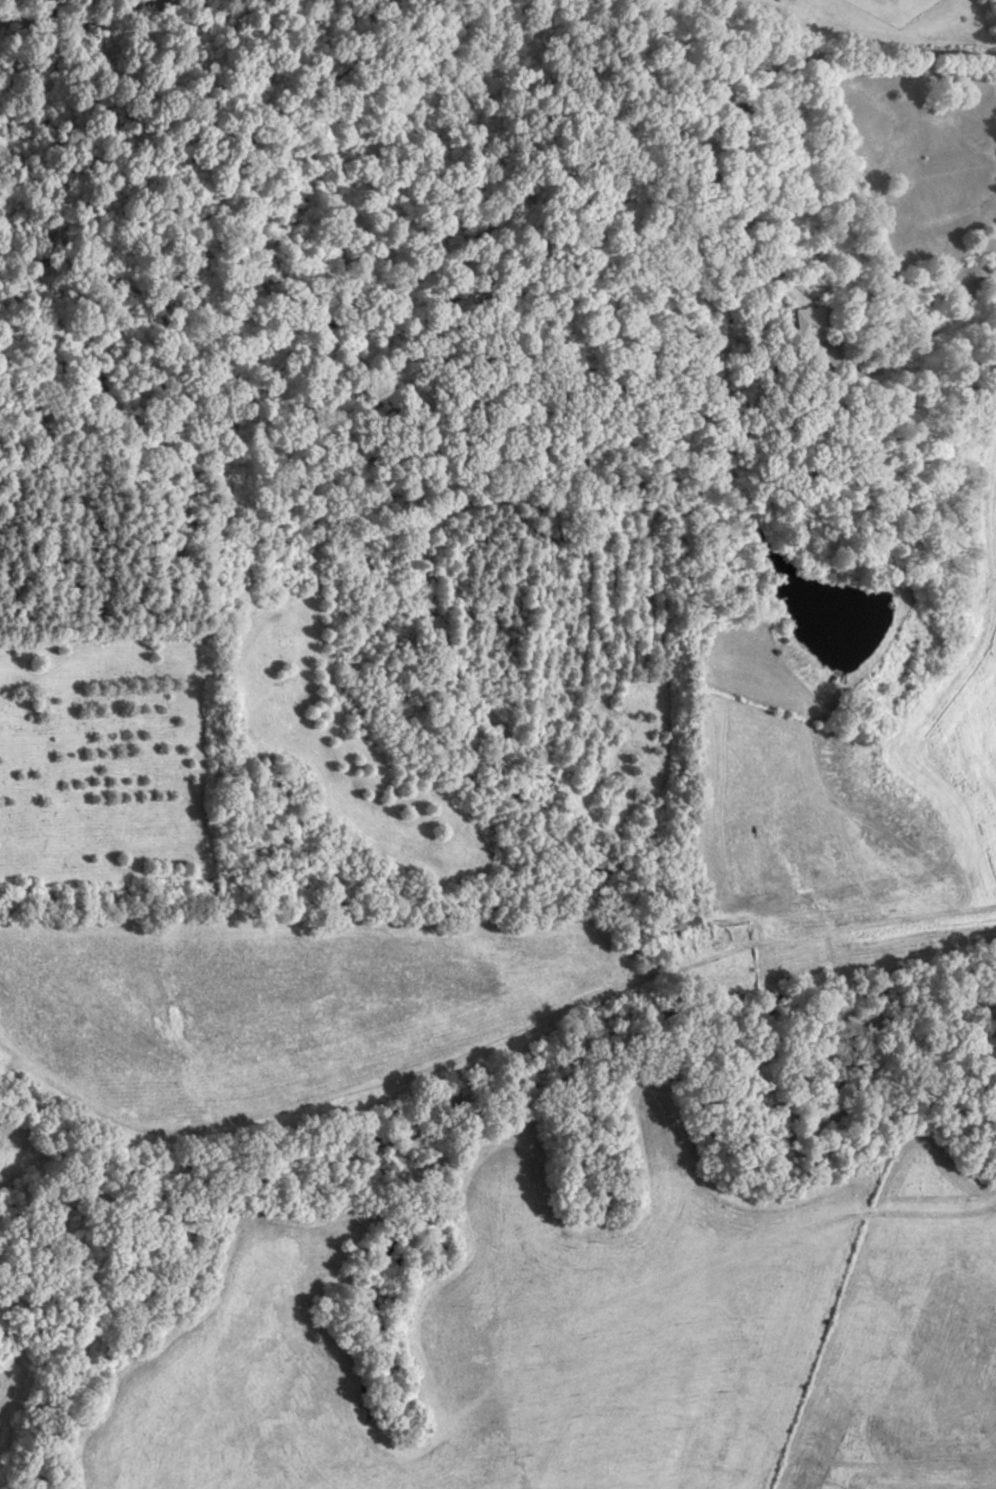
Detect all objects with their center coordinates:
road: (71, 18)
building: (812, 322)
building: (688, 922)

